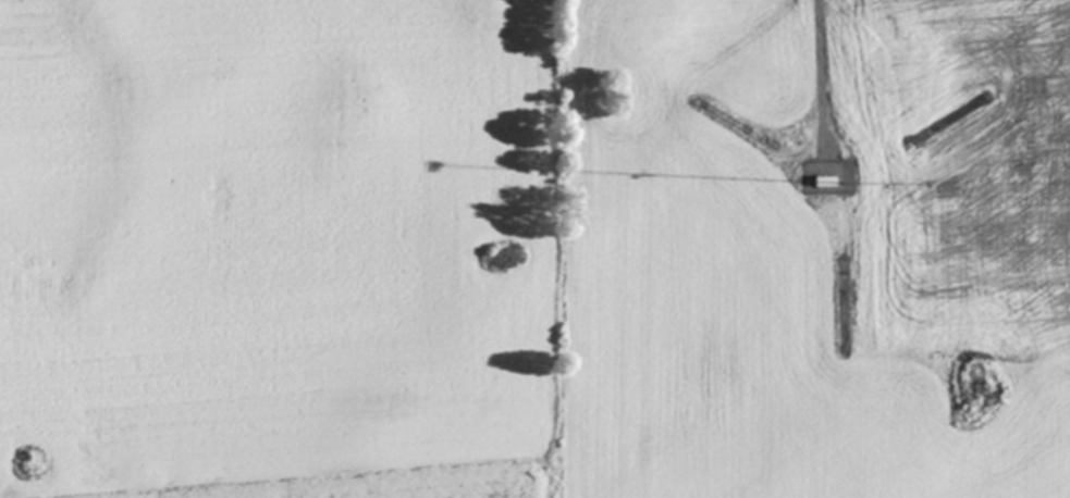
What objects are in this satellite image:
road: (819, 71)

